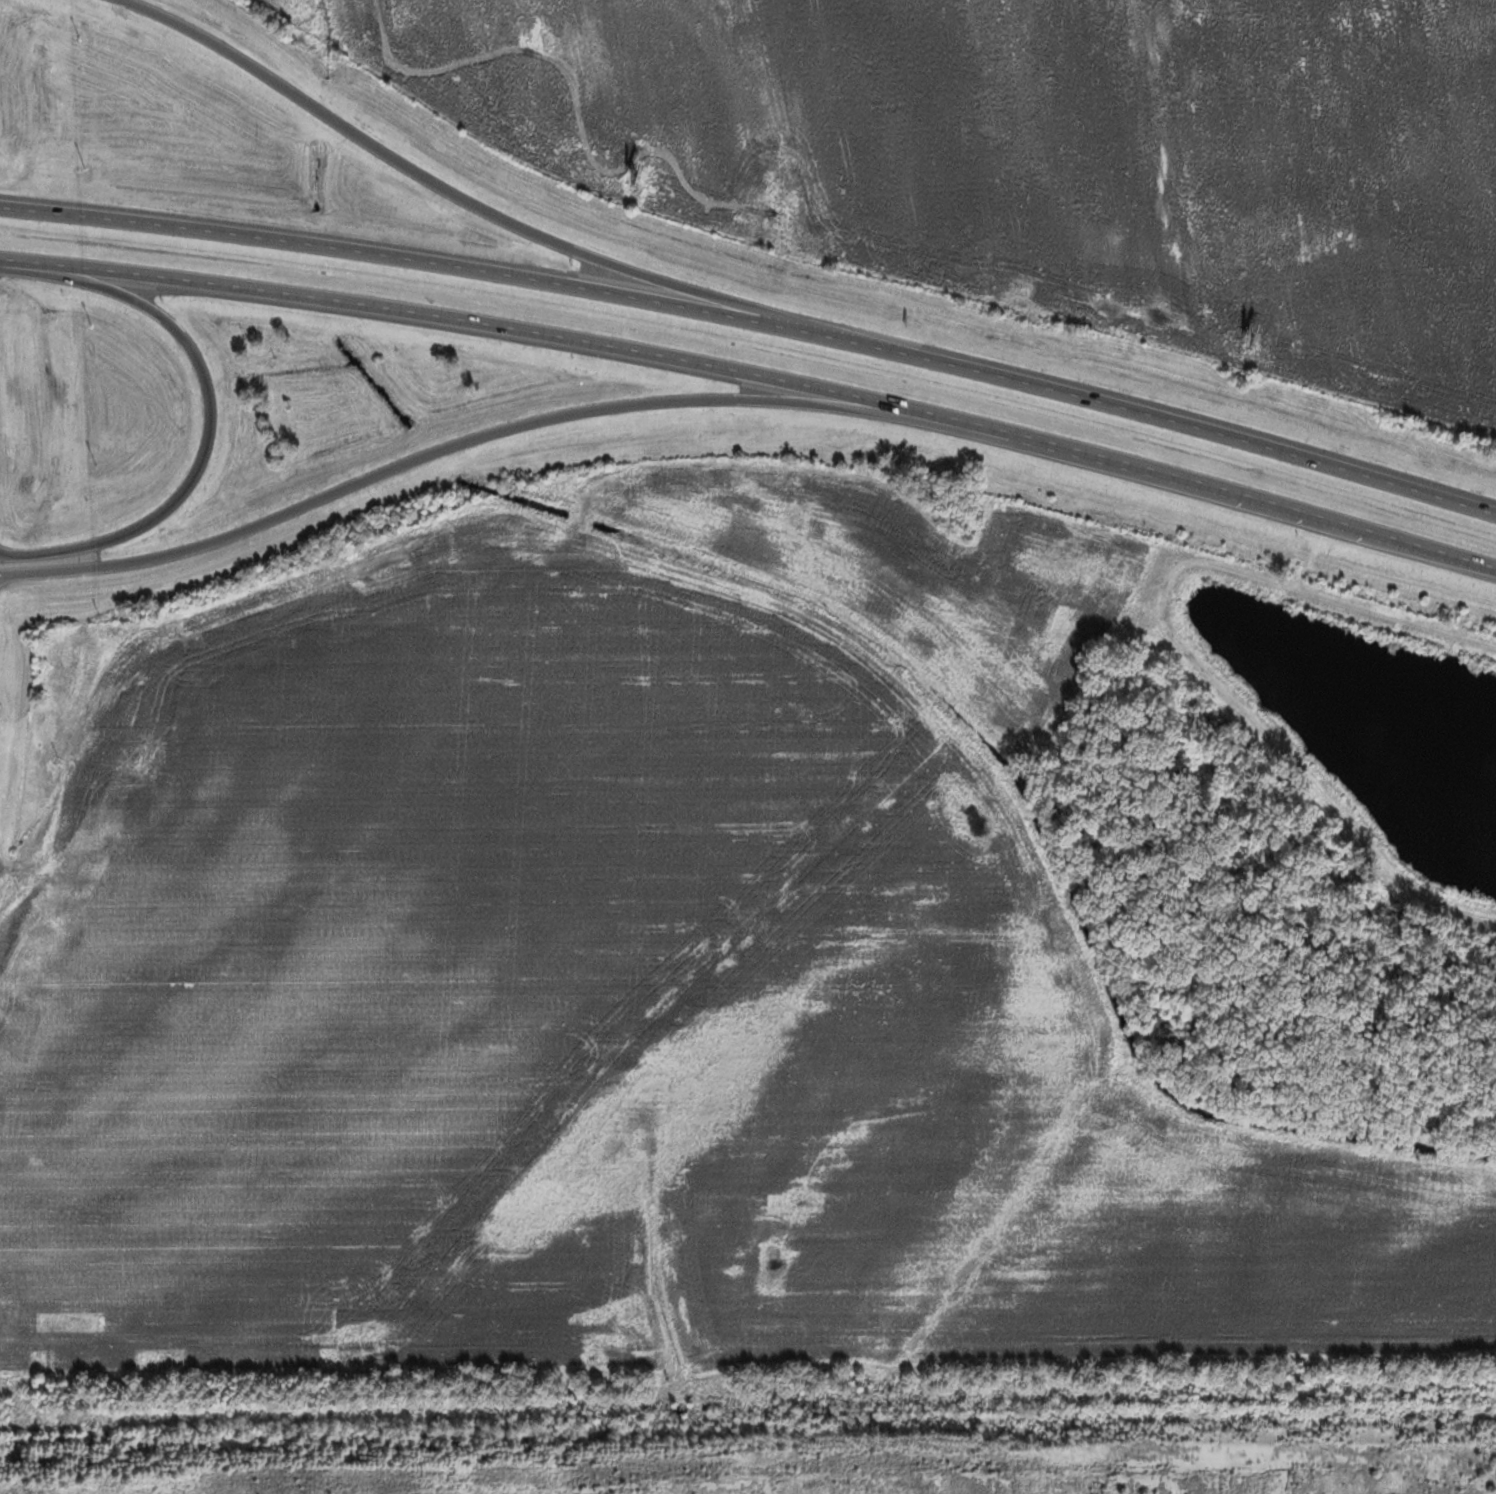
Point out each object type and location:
road: (484, 214)
road: (755, 324)
road: (534, 334)
road: (210, 416)
road: (520, 428)
road: (1273, 508)
road: (1491, 569)
road: (25, 1413)

